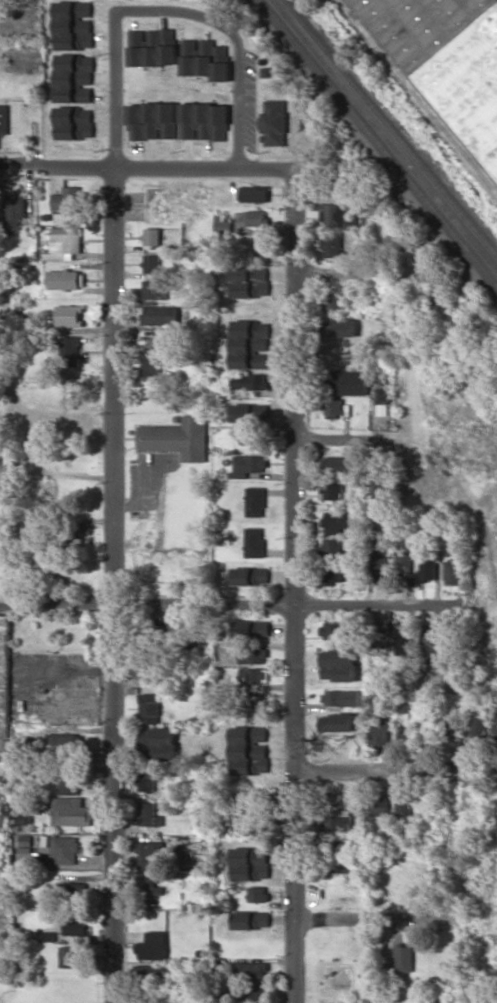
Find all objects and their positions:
road: (168, 10)
building: (74, 25)
building: (153, 47)
building: (205, 58)
building: (448, 59)
building: (74, 77)
building: (4, 119)
building: (152, 120)
building: (204, 121)
building: (75, 122)
building: (274, 122)
railway: (390, 126)
railway: (384, 134)
railway: (378, 141)
road: (57, 165)
road: (203, 165)
building: (255, 193)
building: (67, 200)
building: (14, 210)
building: (334, 214)
building: (256, 217)
building: (223, 223)
building: (152, 237)
building: (64, 243)
building: (332, 244)
building: (153, 263)
road: (326, 273)
building: (66, 279)
building: (250, 281)
building: (156, 289)
building: (334, 304)
building: (69, 315)
building: (161, 315)
building: (338, 328)
building: (250, 344)
building: (70, 350)
building: (152, 366)
building: (250, 381)
building: (347, 382)
building: (382, 401)
building: (333, 408)
building: (250, 411)
building: (253, 435)
building: (178, 437)
road: (341, 438)
building: (338, 464)
building: (247, 465)
building: (381, 484)
building: (331, 491)
building: (255, 501)
building: (337, 521)
building: (254, 541)
building: (331, 546)
building: (404, 562)
building: (381, 566)
building: (428, 570)
building: (452, 572)
building: (333, 573)
building: (250, 576)
road: (114, 584)
road: (292, 584)
road: (223, 605)
building: (251, 628)
building: (339, 630)
building: (428, 641)
building: (403, 645)
building: (252, 655)
building: (338, 664)
building: (253, 675)
building: (5, 685)
building: (341, 697)
building: (149, 708)
building: (337, 722)
building: (469, 728)
building: (495, 729)
building: (379, 731)
building: (407, 740)
building: (65, 742)
building: (157, 743)
building: (249, 750)
road: (397, 769)
building: (64, 773)
building: (146, 780)
building: (251, 801)
building: (380, 805)
building: (403, 809)
building: (71, 811)
building: (148, 814)
building: (22, 819)
building: (337, 819)
building: (255, 827)
building: (335, 847)
building: (65, 849)
building: (27, 852)
building: (150, 854)
building: (250, 863)
building: (338, 871)
building: (257, 893)
building: (3, 899)
building: (251, 919)
road: (378, 920)
building: (76, 925)
building: (47, 936)
building: (153, 946)
building: (71, 956)
building: (404, 957)
building: (250, 969)
building: (158, 970)
building: (250, 990)

